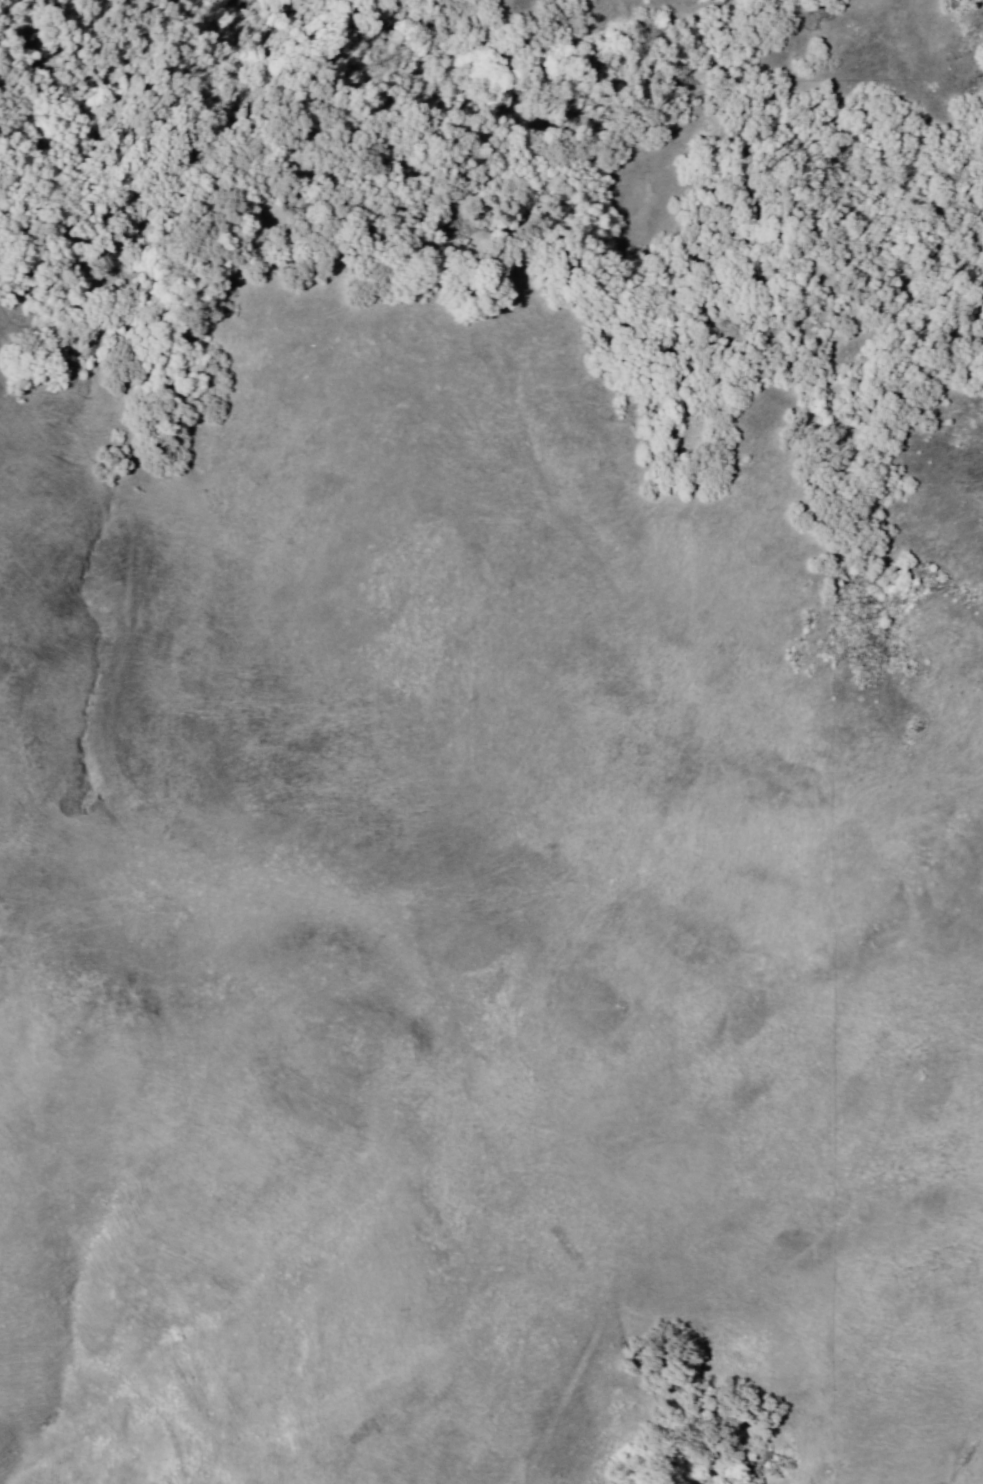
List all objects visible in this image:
road: (701, 1318)

